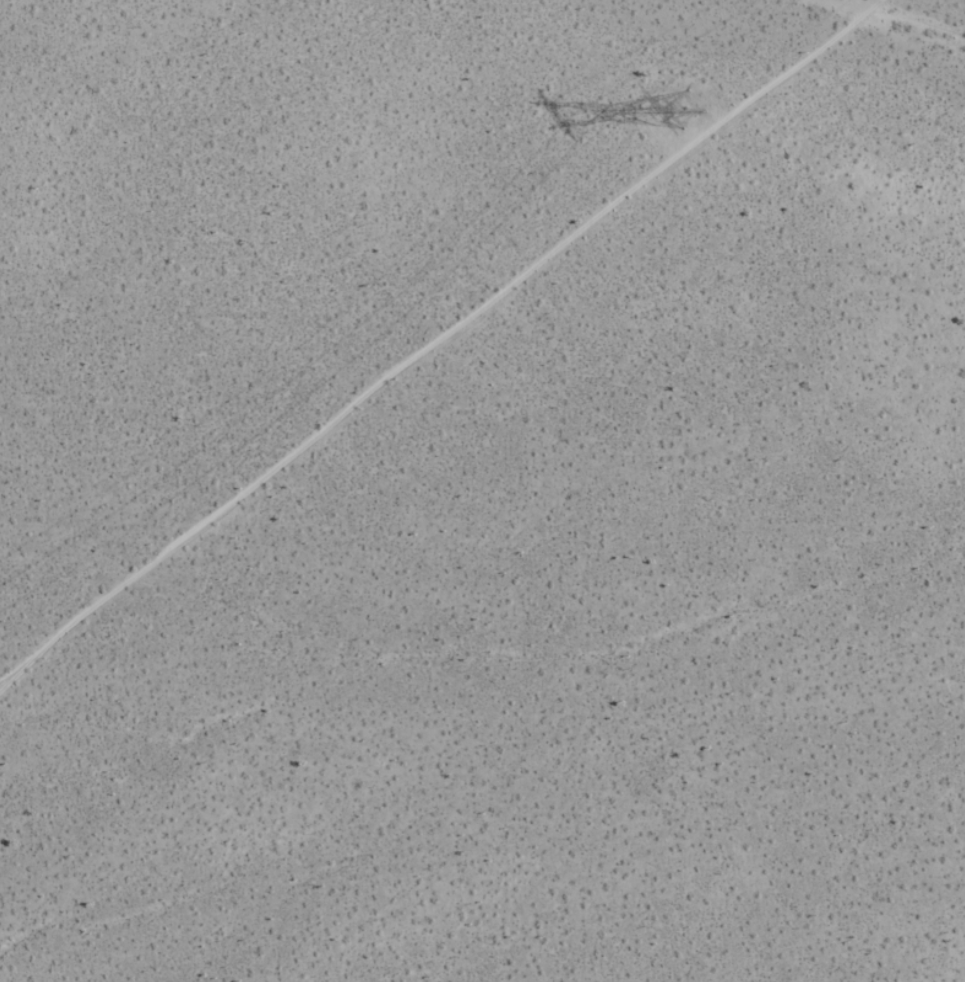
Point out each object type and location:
power tower: (690, 109)

